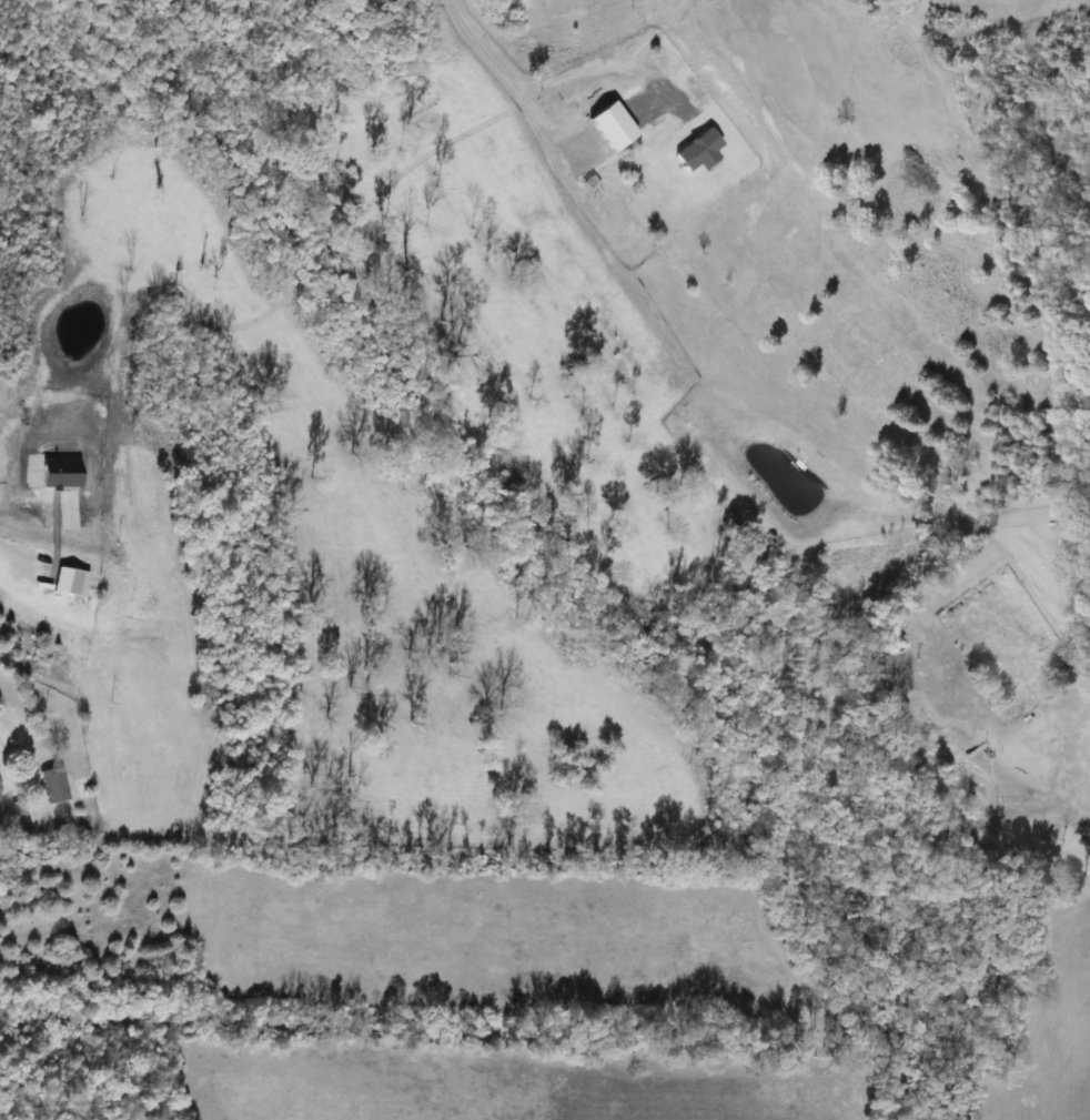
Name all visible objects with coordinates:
road: (602, 65)
road: (511, 78)
building: (1070, 674)
building: (51, 786)

